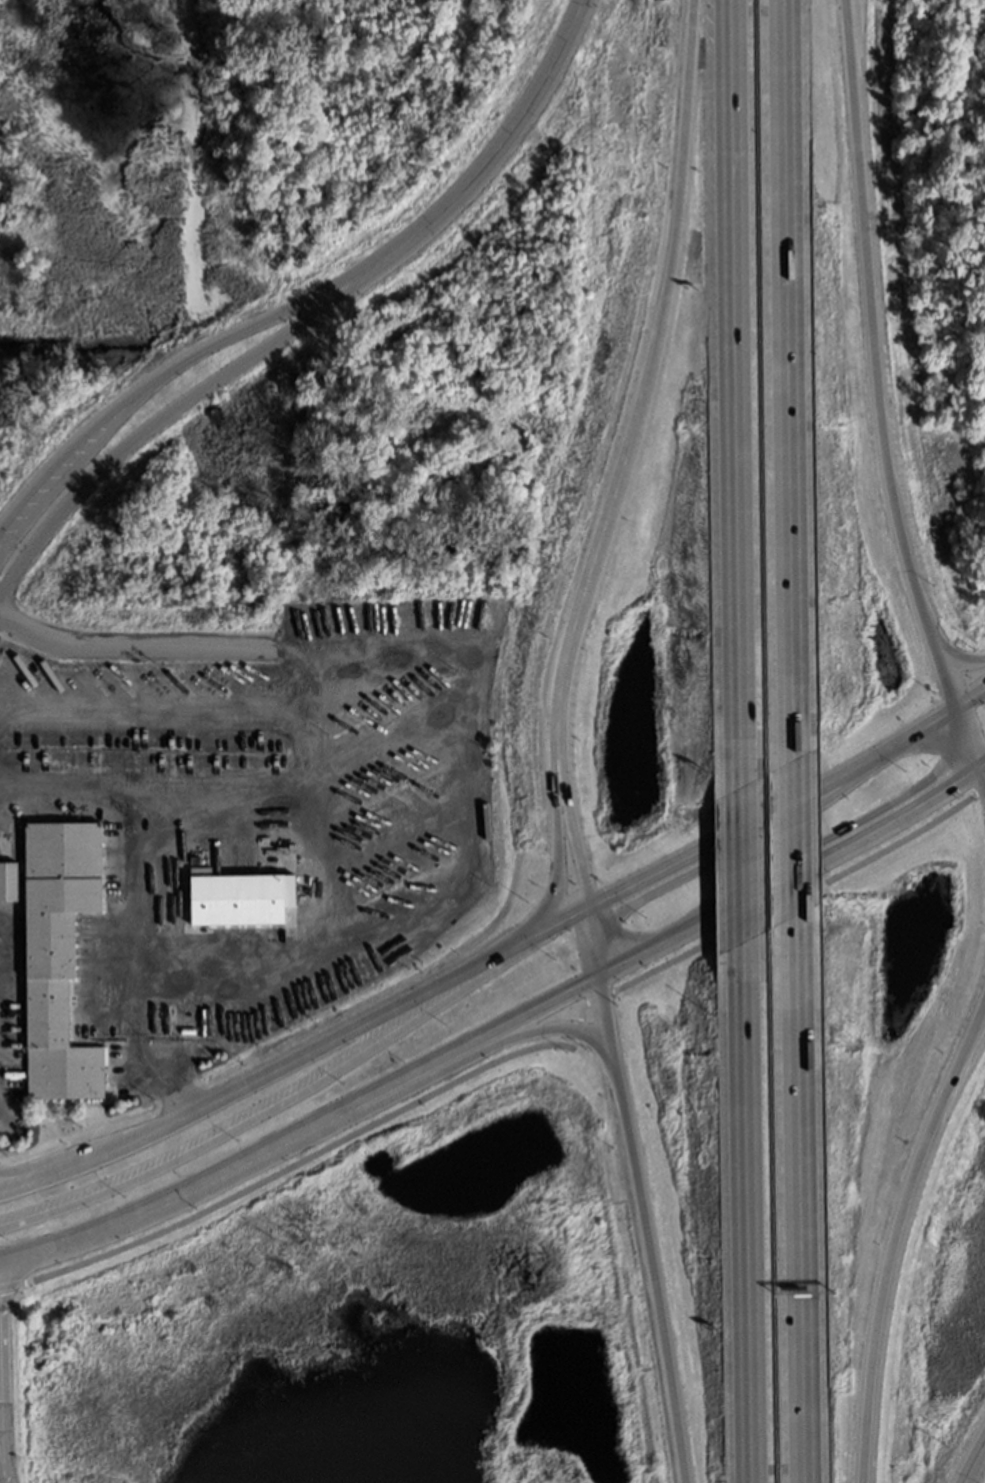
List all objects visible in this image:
road: (492, 166)
road: (874, 354)
road: (645, 378)
road: (786, 378)
road: (151, 382)
road: (733, 393)
road: (155, 424)
road: (121, 642)
road: (963, 660)
road: (970, 690)
road: (967, 736)
road: (982, 769)
road: (982, 780)
road: (116, 788)
road: (772, 807)
road: (570, 828)
road: (791, 840)
road: (563, 847)
road: (736, 865)
building: (5, 879)
road: (790, 879)
building: (237, 896)
road: (591, 944)
building: (57, 954)
road: (132, 960)
road: (554, 1027)
road: (512, 1055)
road: (297, 1060)
road: (270, 1113)
road: (305, 1136)
road: (16, 1180)
road: (797, 1203)
road: (740, 1213)
road: (643, 1231)
road: (895, 1236)
road: (1, 1269)
road: (3, 1413)
road: (3, 1464)
road: (977, 1467)

